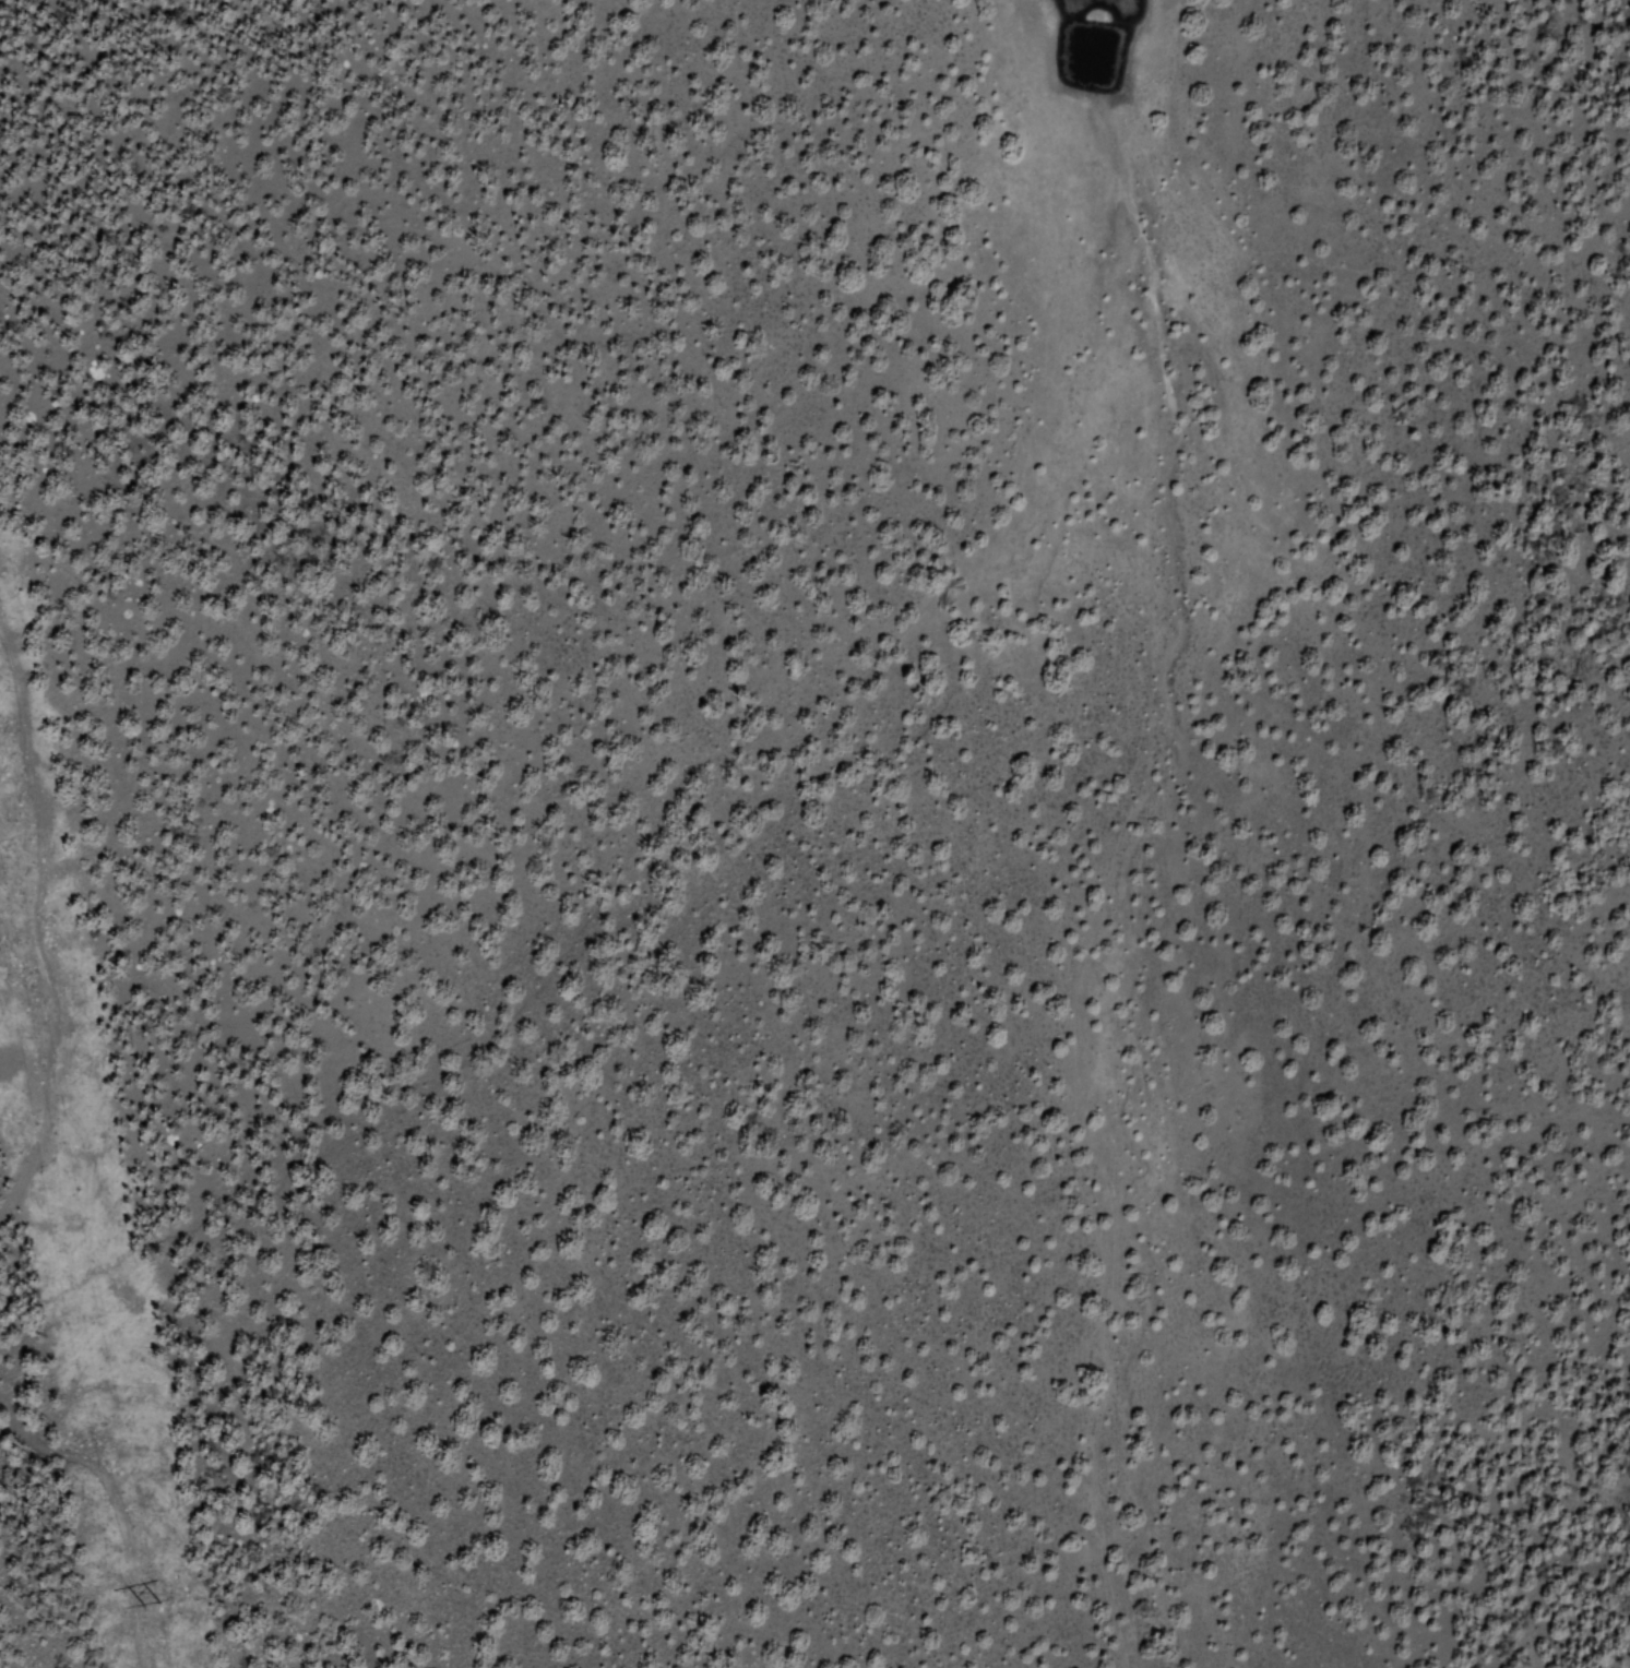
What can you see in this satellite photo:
power tower: (148, 1608)

